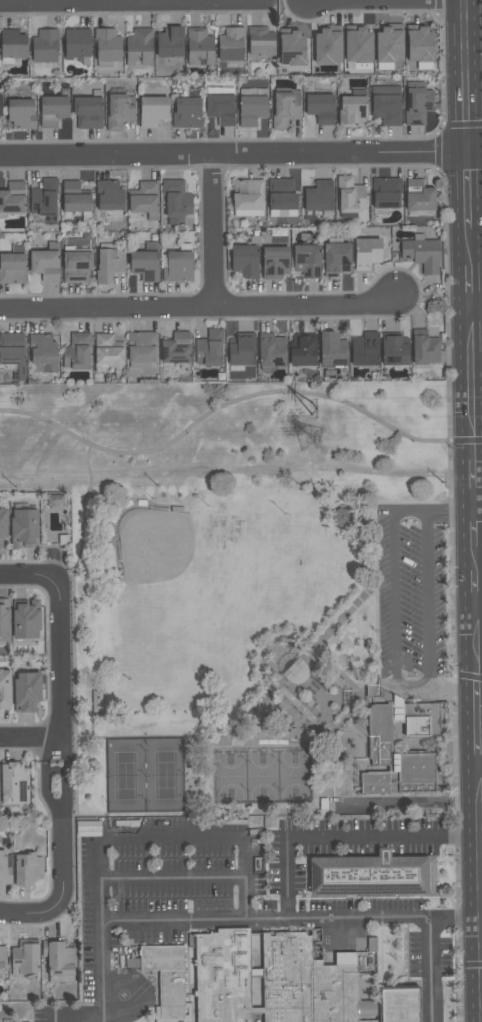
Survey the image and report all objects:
road: (425, 0)
road: (139, 1)
road: (132, 3)
building: (260, 41)
building: (170, 42)
building: (77, 44)
building: (231, 44)
building: (12, 45)
building: (327, 45)
building: (199, 46)
building: (389, 46)
building: (419, 46)
building: (107, 47)
building: (139, 47)
building: (291, 47)
building: (45, 48)
building: (357, 48)
road: (466, 77)
building: (418, 103)
building: (220, 104)
building: (386, 104)
building: (0, 105)
building: (252, 106)
building: (320, 107)
building: (285, 109)
building: (52, 110)
building: (88, 110)
building: (187, 110)
building: (352, 110)
building: (119, 111)
building: (152, 111)
building: (21, 113)
road: (234, 156)
road: (469, 191)
building: (386, 192)
building: (109, 195)
building: (419, 195)
building: (74, 197)
building: (248, 197)
building: (319, 197)
building: (350, 197)
building: (12, 198)
building: (176, 198)
building: (281, 198)
building: (144, 199)
building: (44, 202)
road: (213, 232)
road: (470, 247)
building: (366, 253)
building: (422, 253)
building: (336, 258)
building: (245, 260)
building: (307, 260)
building: (145, 262)
building: (275, 262)
building: (44, 264)
building: (75, 264)
building: (178, 264)
building: (13, 265)
building: (109, 265)
road: (471, 287)
road: (476, 307)
road: (199, 308)
building: (424, 347)
building: (209, 348)
building: (141, 349)
building: (175, 349)
building: (241, 349)
building: (332, 349)
building: (364, 349)
building: (302, 350)
building: (394, 350)
building: (77, 351)
building: (271, 352)
building: (43, 353)
building: (108, 353)
building: (12, 354)
road: (472, 383)
road: (220, 408)
power tower: (316, 408)
park: (241, 437)
road: (448, 440)
road: (466, 440)
power tower: (335, 444)
road: (478, 460)
road: (237, 470)
road: (474, 480)
road: (478, 503)
road: (447, 512)
building: (341, 517)
road: (393, 517)
road: (82, 518)
building: (3, 525)
building: (24, 527)
road: (469, 536)
park: (170, 563)
road: (29, 576)
parking lot: (410, 590)
road: (368, 592)
road: (479, 606)
building: (4, 619)
building: (25, 619)
road: (476, 624)
road: (269, 648)
park: (261, 653)
road: (58, 660)
road: (338, 674)
road: (466, 677)
building: (5, 686)
building: (26, 691)
building: (372, 691)
building: (98, 702)
road: (299, 715)
road: (344, 718)
building: (380, 720)
building: (422, 721)
road: (478, 723)
road: (29, 739)
building: (381, 744)
building: (381, 759)
road: (480, 767)
building: (416, 773)
park: (144, 775)
park: (262, 776)
building: (379, 783)
building: (14, 784)
road: (408, 801)
road: (60, 813)
building: (88, 828)
road: (174, 836)
road: (342, 837)
road: (480, 847)
building: (5, 868)
building: (28, 869)
parking lot: (250, 875)
building: (370, 877)
road: (478, 894)
road: (40, 916)
road: (174, 921)
building: (366, 954)
building: (25, 957)
building: (2, 959)
building: (59, 960)
road: (431, 969)
road: (103, 972)
building: (223, 976)
building: (167, 977)
building: (308, 981)
helipad: (122, 995)
building: (393, 1004)
parking lot: (88, 1015)
road: (55, 1016)
road: (79, 1016)
building: (372, 1021)

